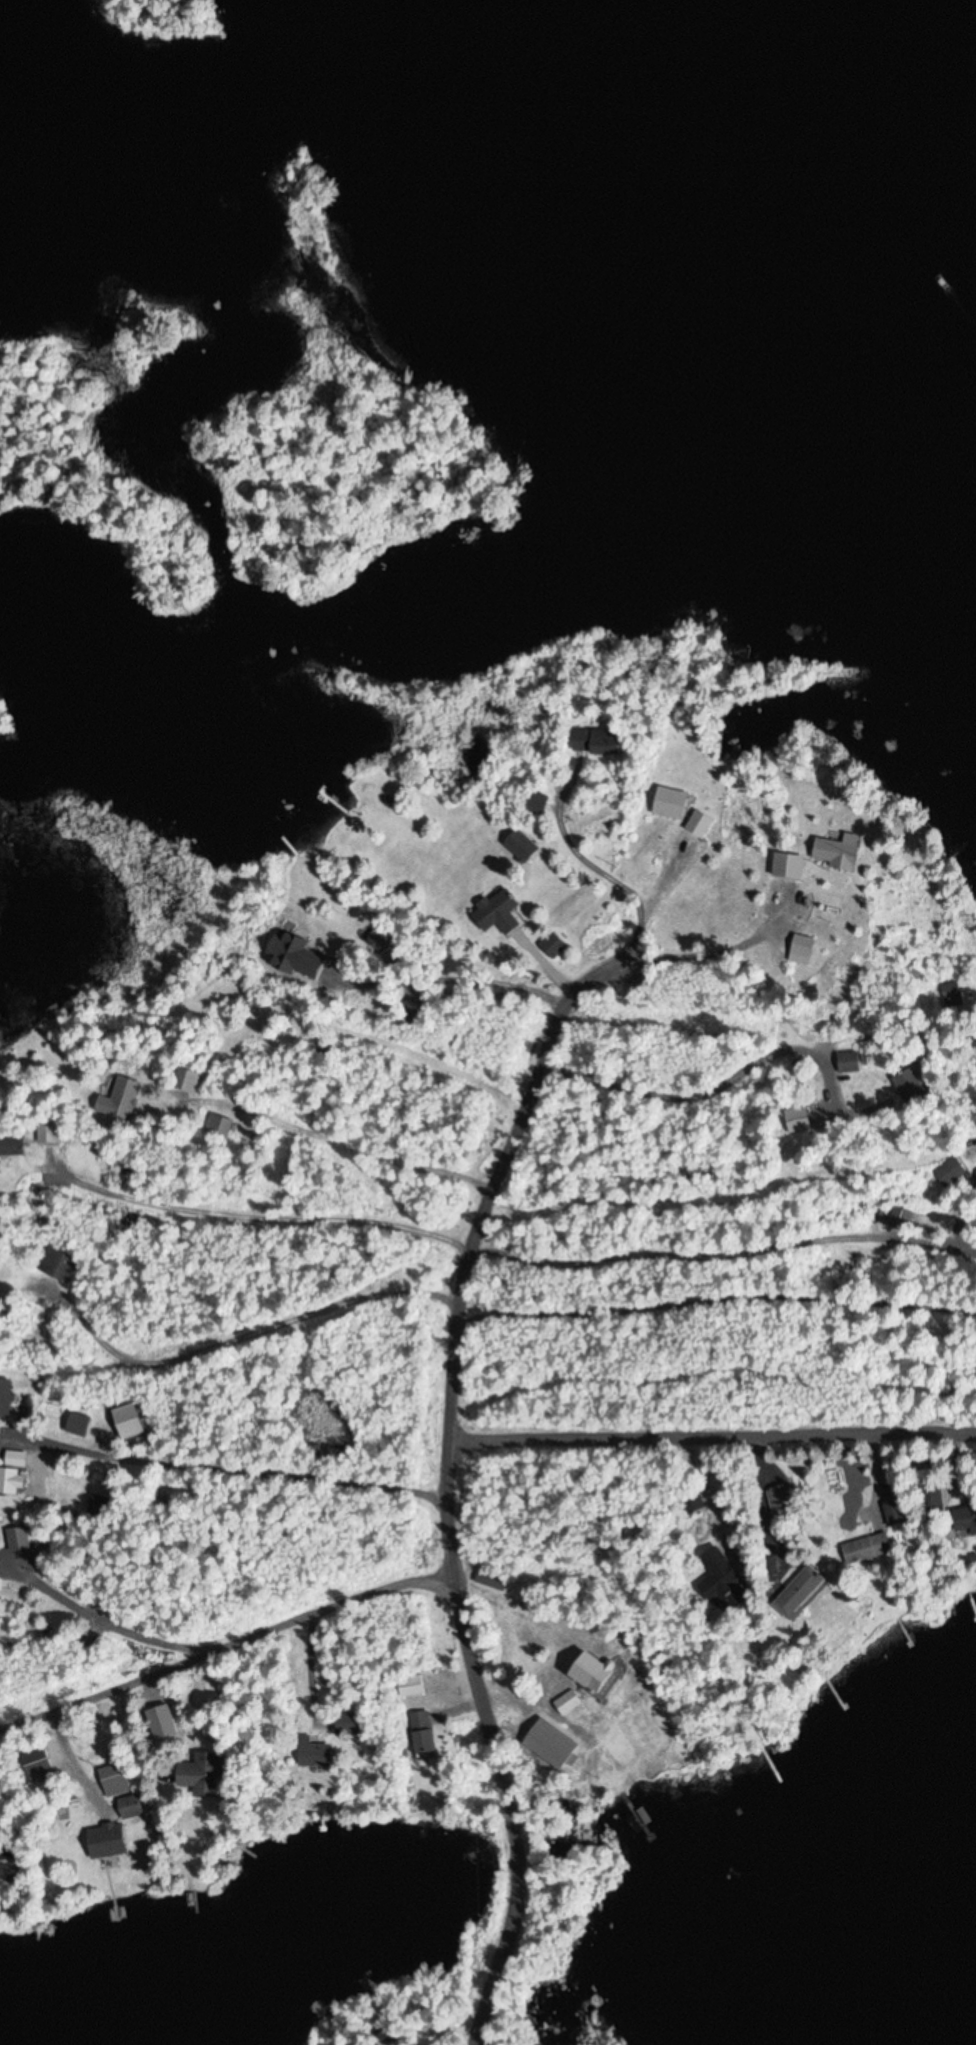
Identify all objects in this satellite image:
building: (606, 742)
building: (671, 803)
building: (699, 824)
building: (837, 853)
building: (788, 866)
building: (380, 935)
building: (801, 945)
building: (552, 946)
building: (410, 1011)
building: (235, 1040)
building: (849, 1061)
building: (185, 1079)
building: (911, 1086)
building: (120, 1098)
building: (798, 1119)
building: (219, 1125)
building: (49, 1132)
road: (790, 1148)
building: (951, 1171)
road: (373, 1173)
road: (687, 1204)
building: (900, 1218)
road: (397, 1254)
road: (741, 1261)
building: (58, 1263)
road: (728, 1338)
road: (386, 1366)
road: (713, 1392)
building: (5, 1397)
building: (78, 1423)
building: (15, 1458)
road: (221, 1469)
road: (446, 1472)
building: (11, 1481)
building: (693, 1502)
building: (783, 1502)
building: (98, 1505)
building: (894, 1511)
building: (966, 1514)
building: (17, 1537)
building: (867, 1547)
building: (720, 1579)
building: (491, 1580)
building: (799, 1591)
road: (92, 1636)
road: (229, 1662)
building: (411, 1686)
building: (572, 1701)
building: (346, 1724)
building: (422, 1734)
building: (562, 1745)
building: (315, 1754)
building: (37, 1764)
building: (204, 1773)
building: (114, 1779)
building: (130, 1807)
building: (101, 1847)

